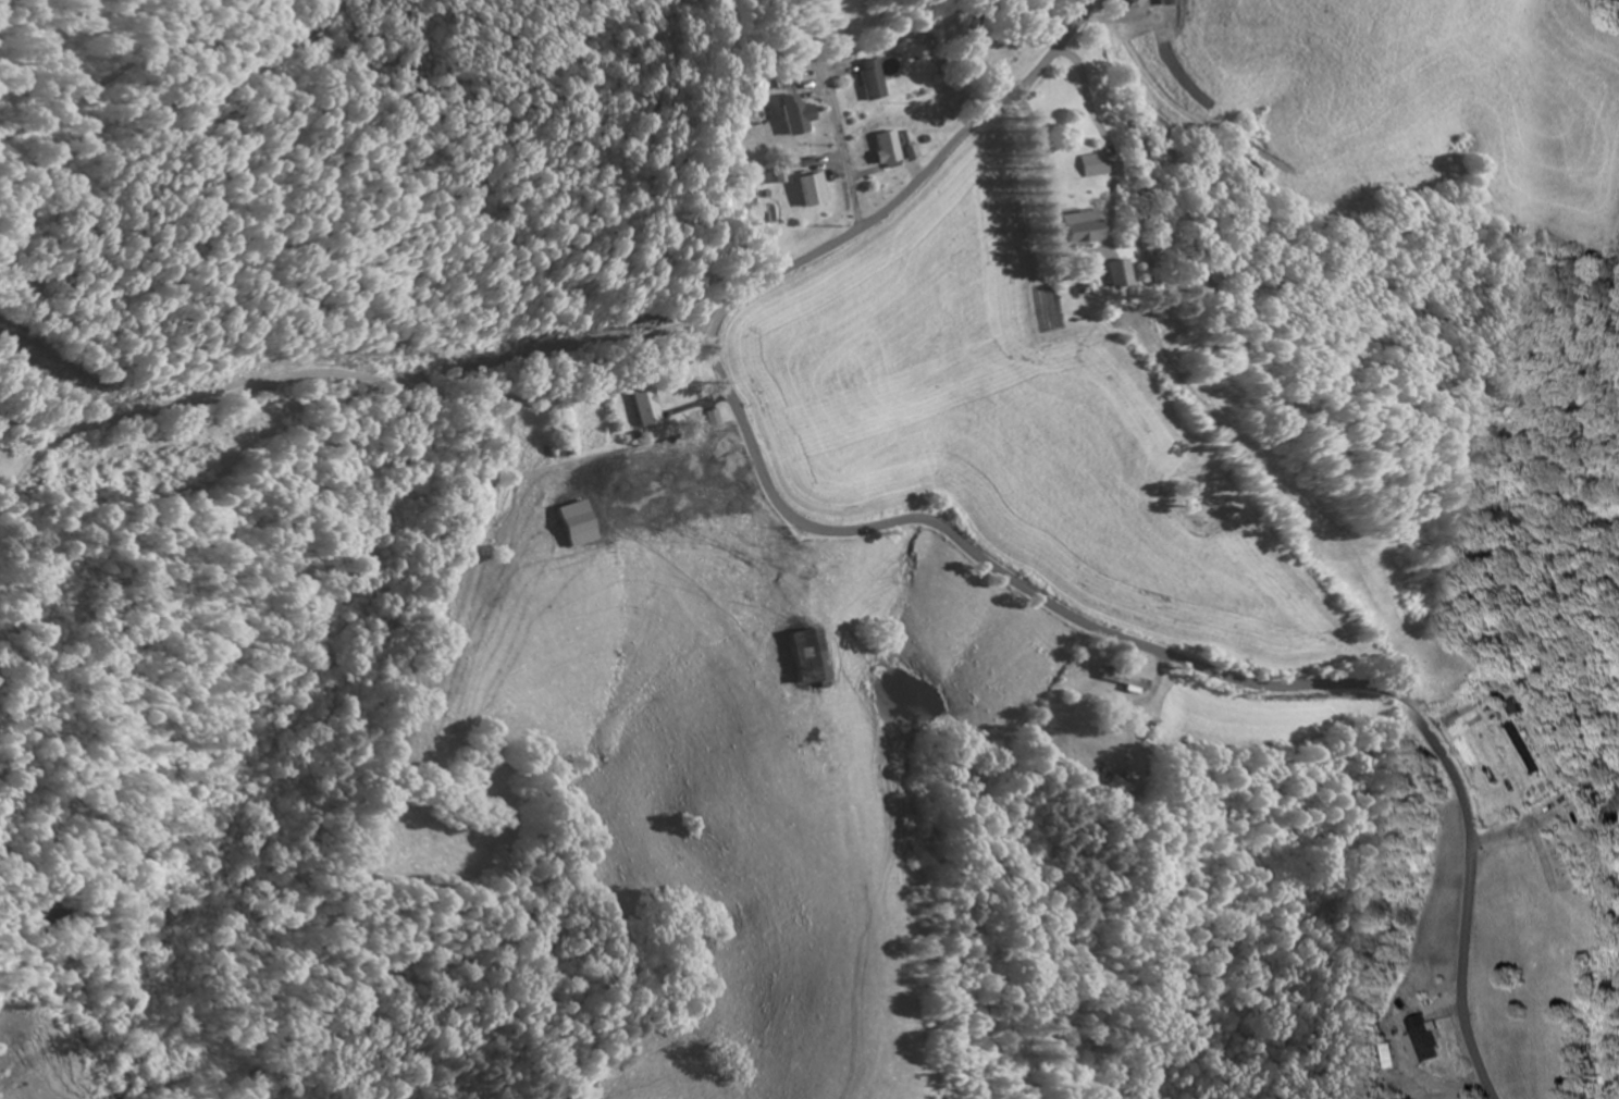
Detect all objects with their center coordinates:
building: (864, 82)
building: (795, 116)
road: (832, 137)
building: (883, 150)
building: (1083, 168)
building: (812, 193)
building: (1062, 233)
building: (1097, 275)
road: (363, 382)
building: (641, 404)
building: (707, 419)
road: (959, 544)
building: (807, 658)
building: (1524, 711)
building: (1531, 749)
building: (1425, 1039)

